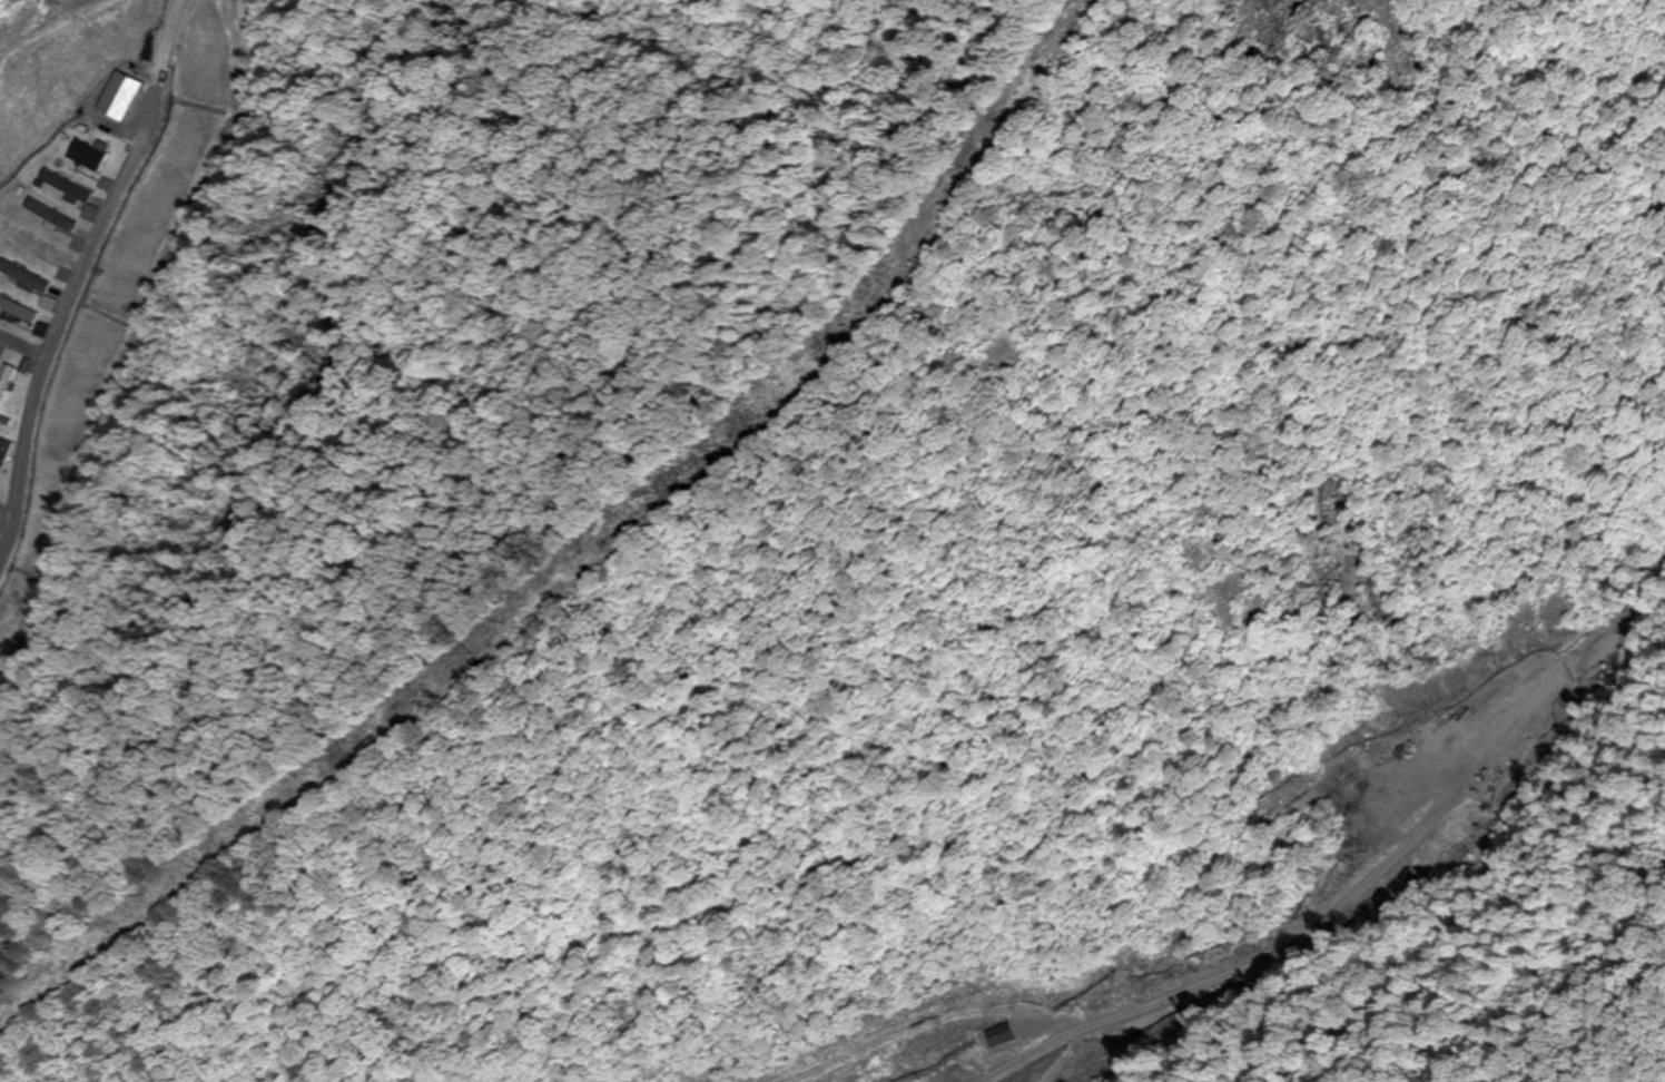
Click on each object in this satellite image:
building: (118, 96)
building: (86, 156)
building: (66, 186)
building: (53, 217)
building: (35, 244)
building: (26, 278)
road: (73, 292)
building: (19, 311)
building: (9, 390)
building: (8, 463)

